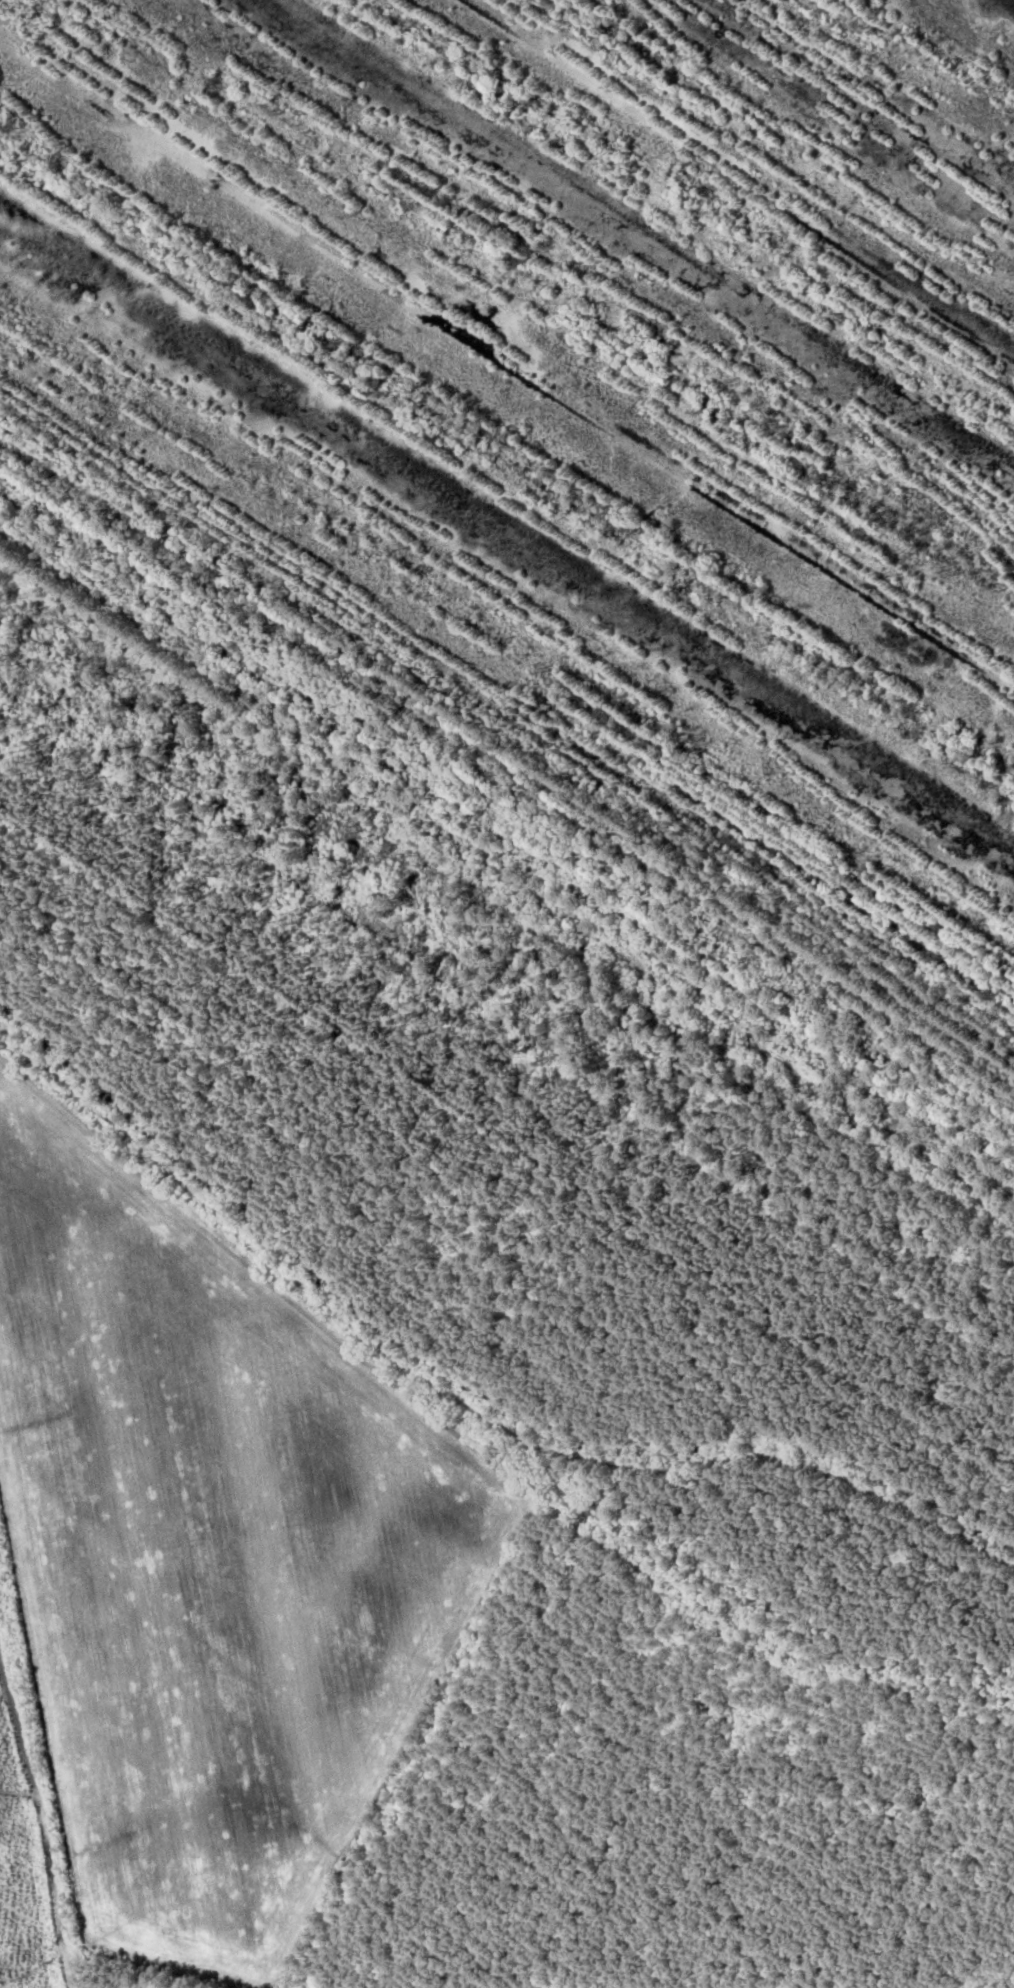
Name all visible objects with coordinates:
road: (17, 1793)
road: (38, 1815)
road: (32, 1966)

